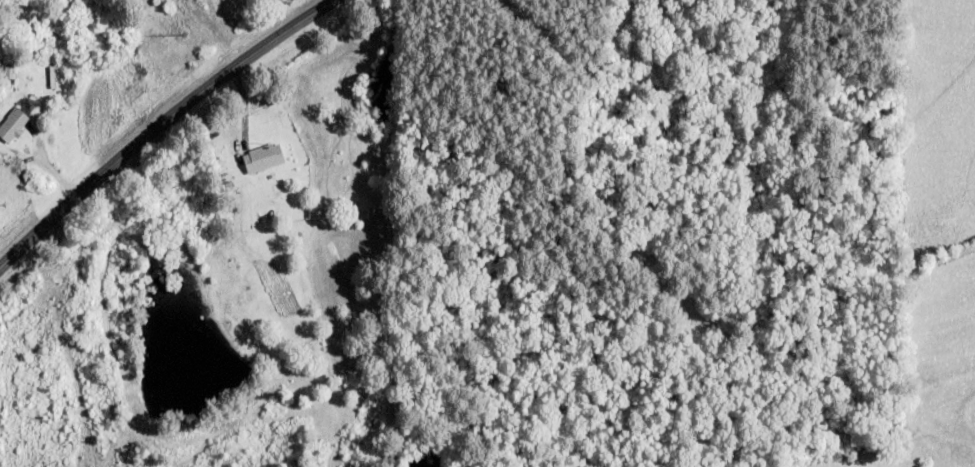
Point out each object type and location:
road: (0, 0)
building: (147, 0)
building: (7, 72)
road: (157, 123)
building: (11, 124)
building: (261, 158)

